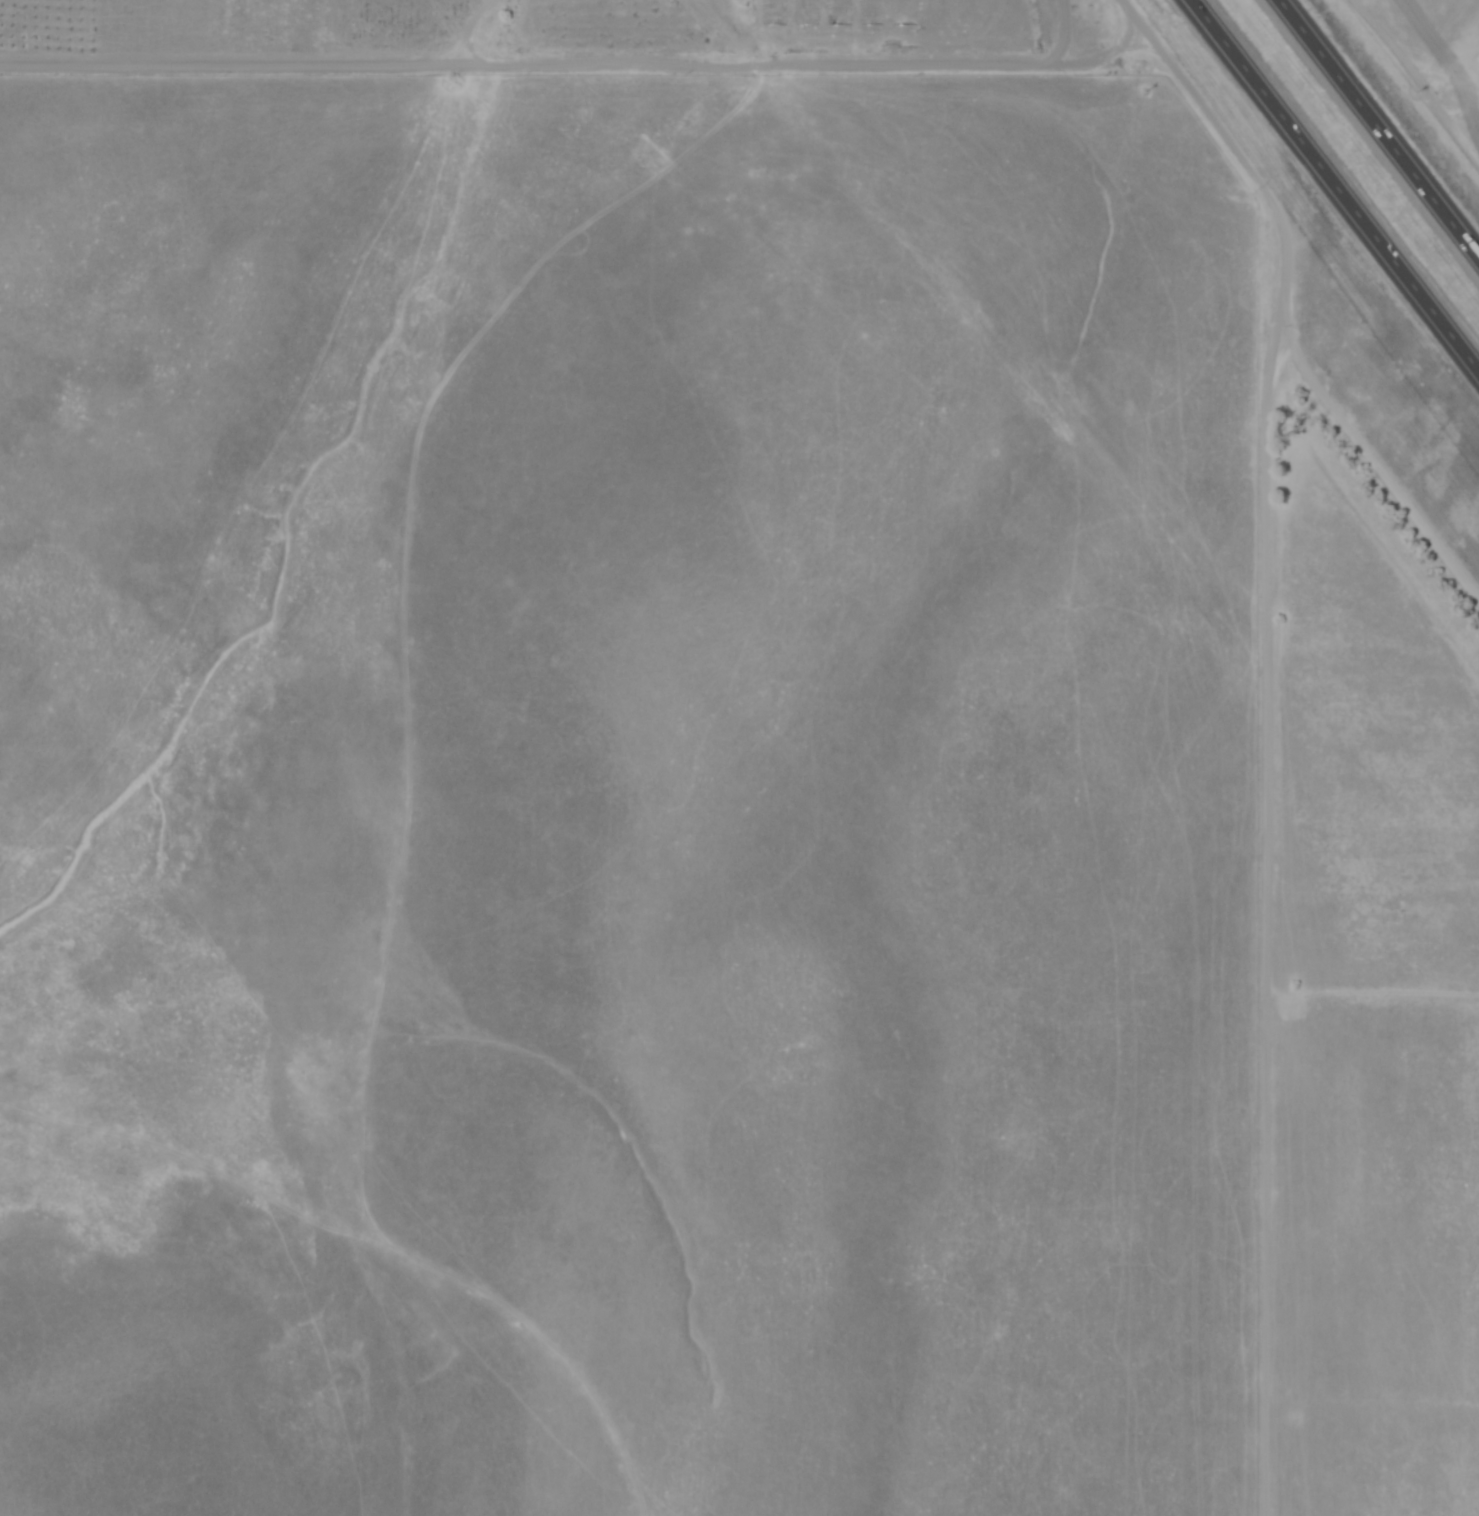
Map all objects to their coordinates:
crop: (207, 26)
road: (1407, 52)
road: (584, 65)
crop: (1422, 71)
road: (1377, 132)
road: (1333, 188)
crop: (1363, 883)

